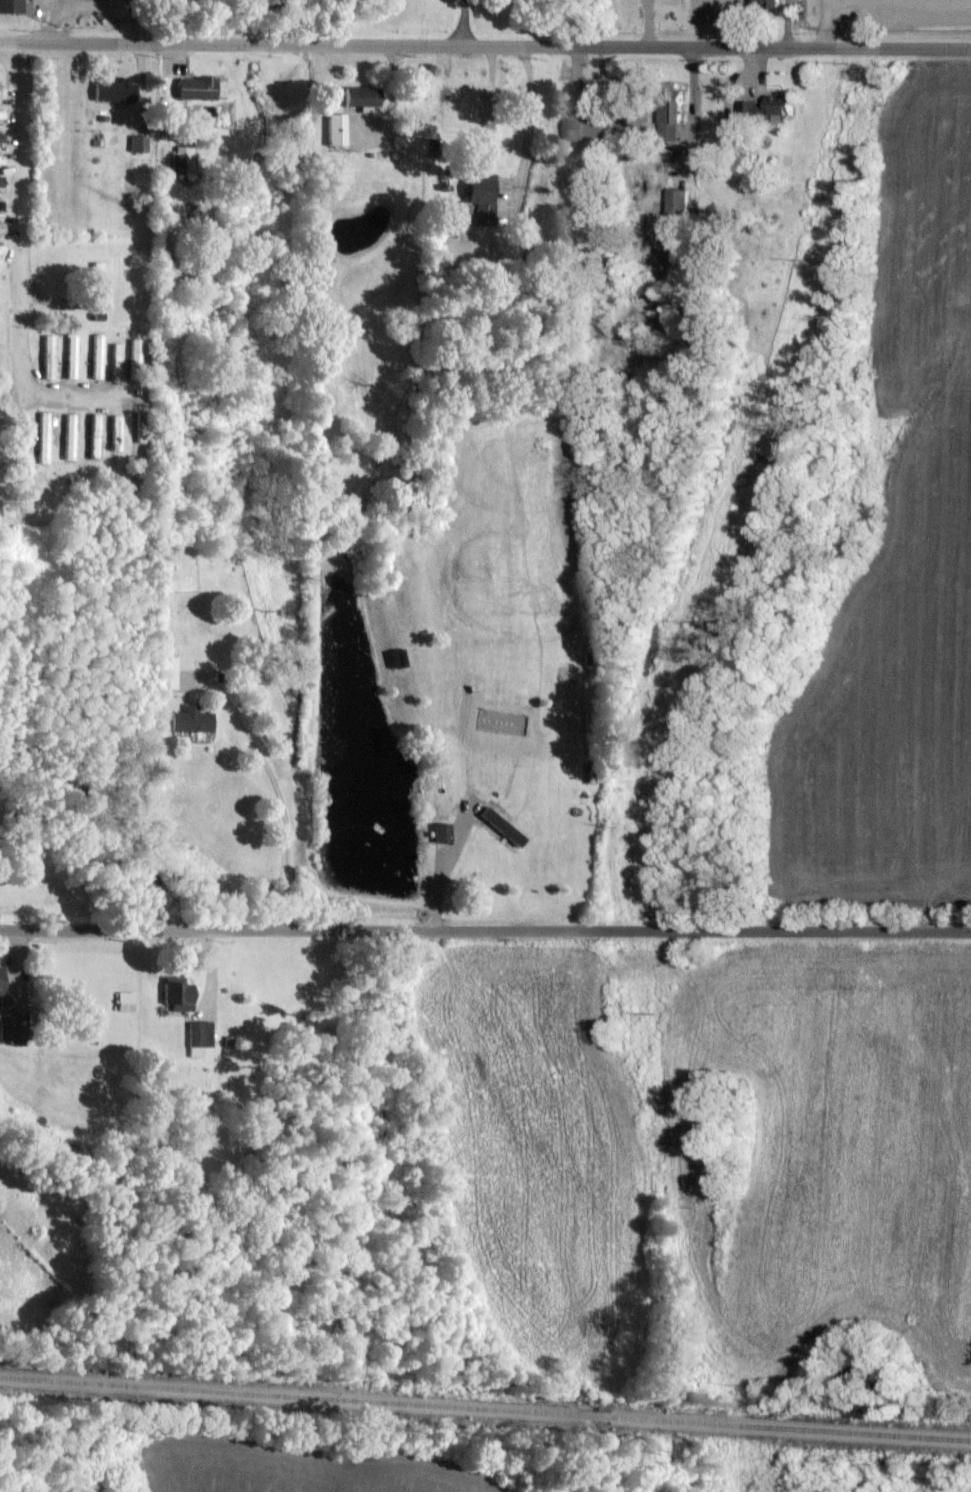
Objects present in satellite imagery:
building: (768, 3)
building: (11, 5)
parking lot: (927, 11)
road: (463, 21)
road: (825, 22)
road: (485, 44)
building: (195, 86)
building: (114, 90)
building: (362, 95)
building: (770, 104)
building: (1, 112)
building: (671, 118)
road: (527, 121)
building: (335, 127)
building: (0, 135)
building: (137, 142)
building: (1, 158)
building: (183, 158)
building: (1, 179)
building: (481, 195)
building: (678, 202)
building: (0, 204)
building: (447, 217)
building: (1, 225)
building: (1, 248)
road: (15, 267)
building: (96, 282)
building: (134, 350)
building: (47, 355)
building: (70, 355)
building: (96, 355)
building: (115, 361)
building: (115, 431)
building: (94, 434)
building: (69, 435)
building: (43, 436)
building: (165, 672)
building: (191, 719)
road: (277, 795)
building: (499, 824)
building: (441, 832)
road: (485, 930)
building: (1, 977)
building: (178, 995)
building: (125, 1000)
building: (198, 1036)
railway: (485, 1408)

